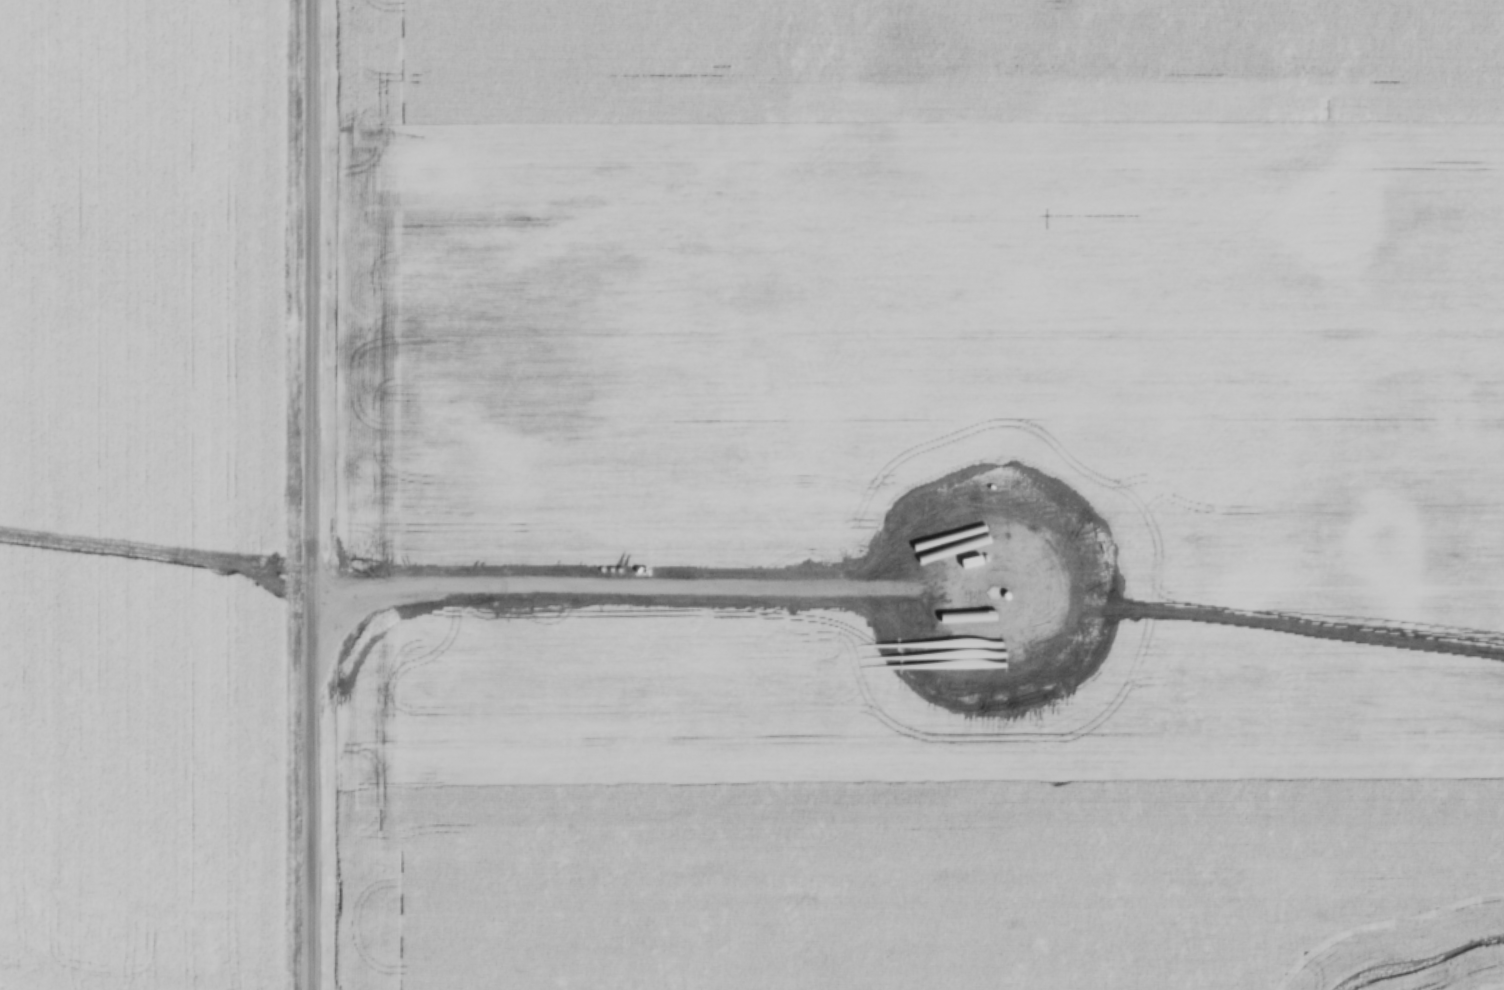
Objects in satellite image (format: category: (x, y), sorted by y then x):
road: (314, 495)
wind turbine: (995, 594)

